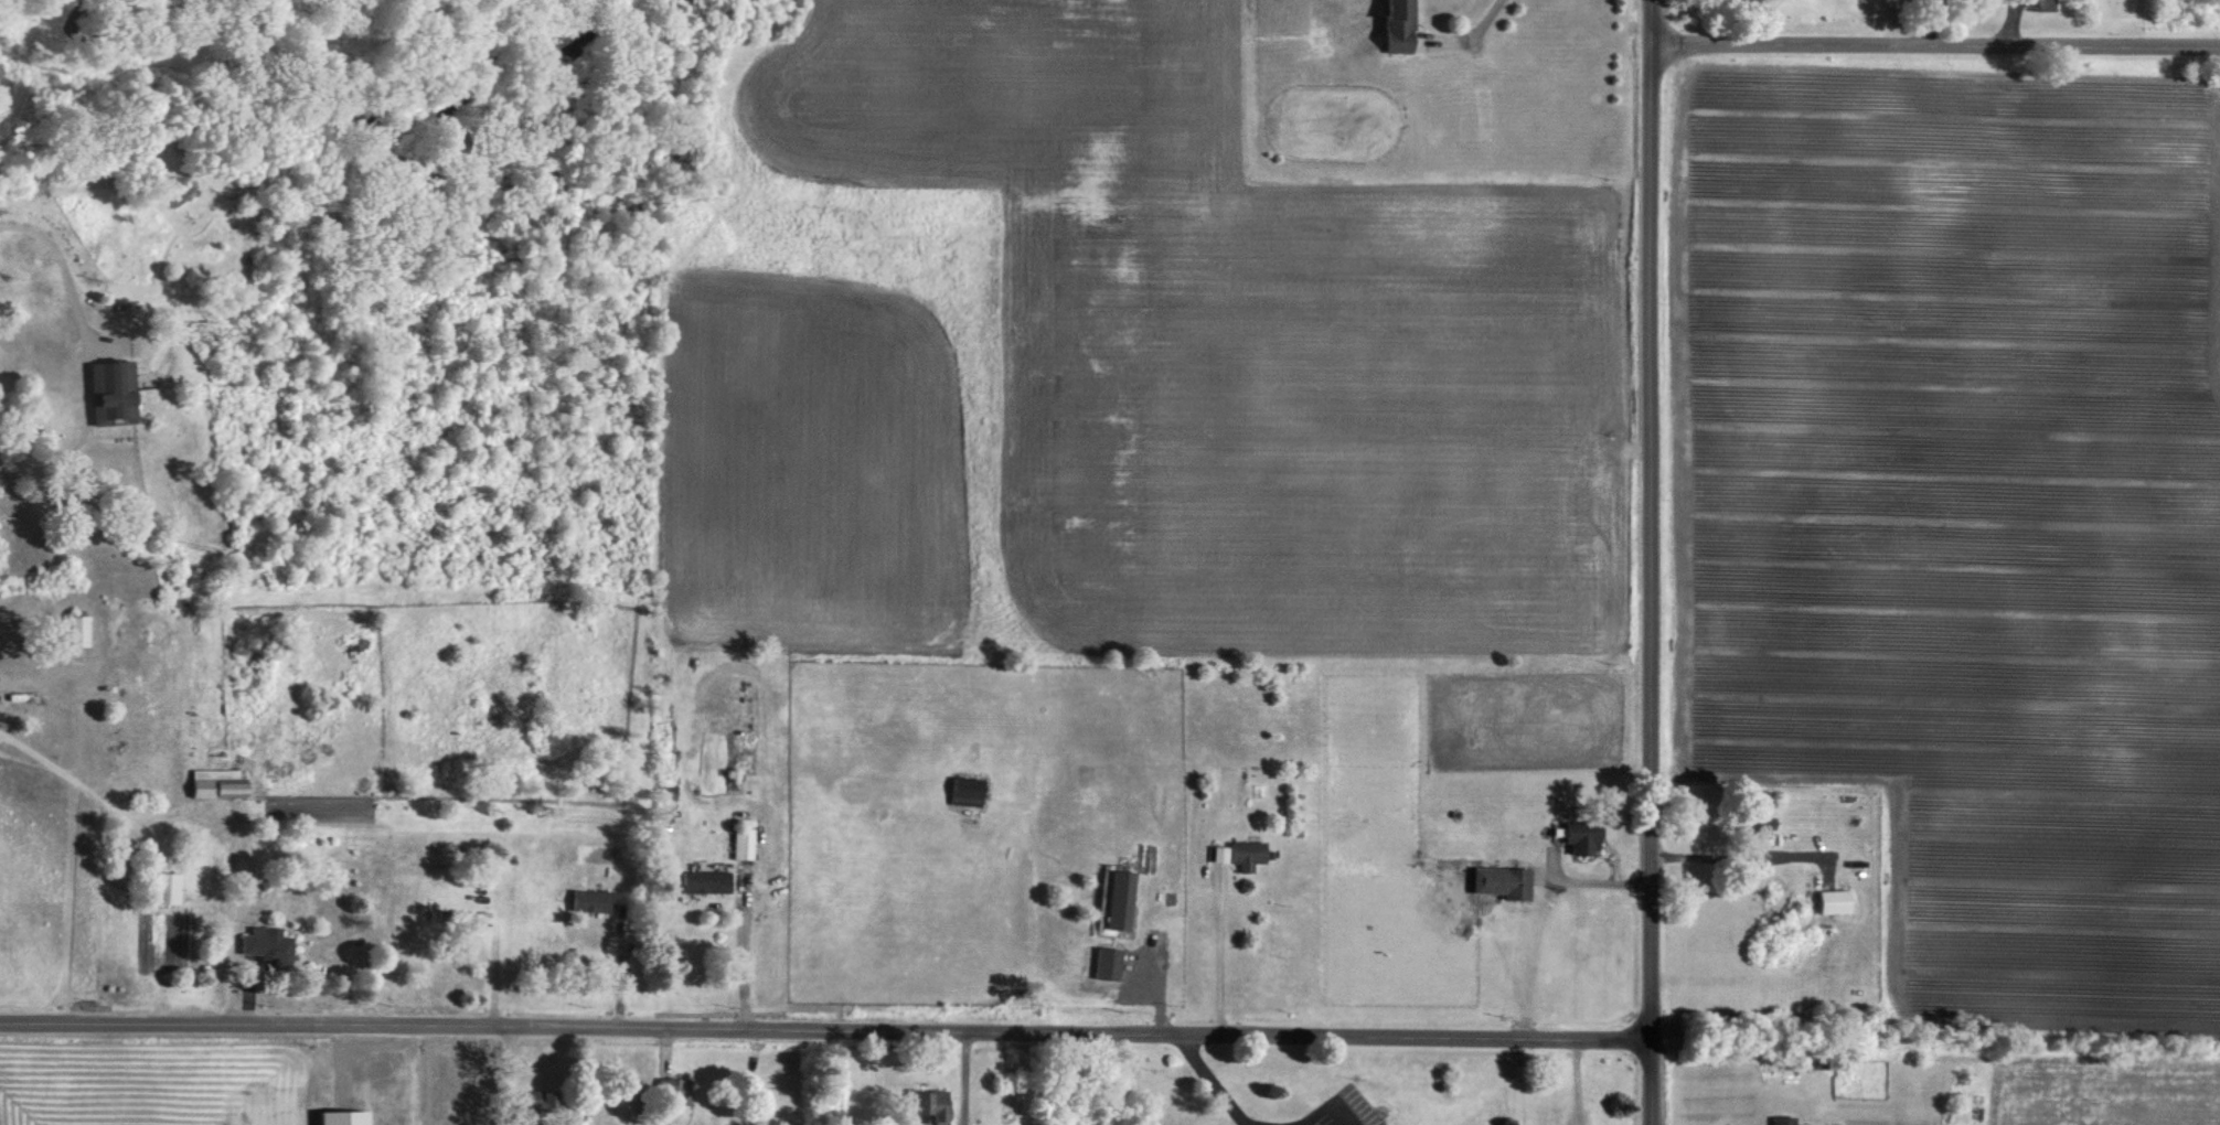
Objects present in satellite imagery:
building: (1736, 1)
building: (2032, 4)
building: (1391, 25)
road: (1481, 26)
road: (1935, 40)
road: (86, 354)
building: (107, 390)
road: (1655, 561)
building: (71, 630)
building: (213, 782)
building: (962, 791)
building: (1753, 822)
building: (743, 823)
building: (1577, 837)
building: (741, 844)
building: (1215, 854)
building: (1241, 854)
building: (701, 881)
building: (1498, 881)
road: (1600, 881)
building: (163, 888)
building: (588, 900)
building: (1832, 901)
building: (469, 917)
building: (265, 946)
road: (744, 949)
road: (1219, 950)
building: (1104, 963)
road: (830, 1025)
road: (511, 1069)
road: (1218, 1083)
building: (673, 1090)
building: (534, 1101)
building: (928, 1105)
road: (1323, 1105)
building: (339, 1117)
road: (510, 1119)
road: (516, 1119)
building: (1781, 1119)
road: (1248, 1123)
road: (1292, 1124)

